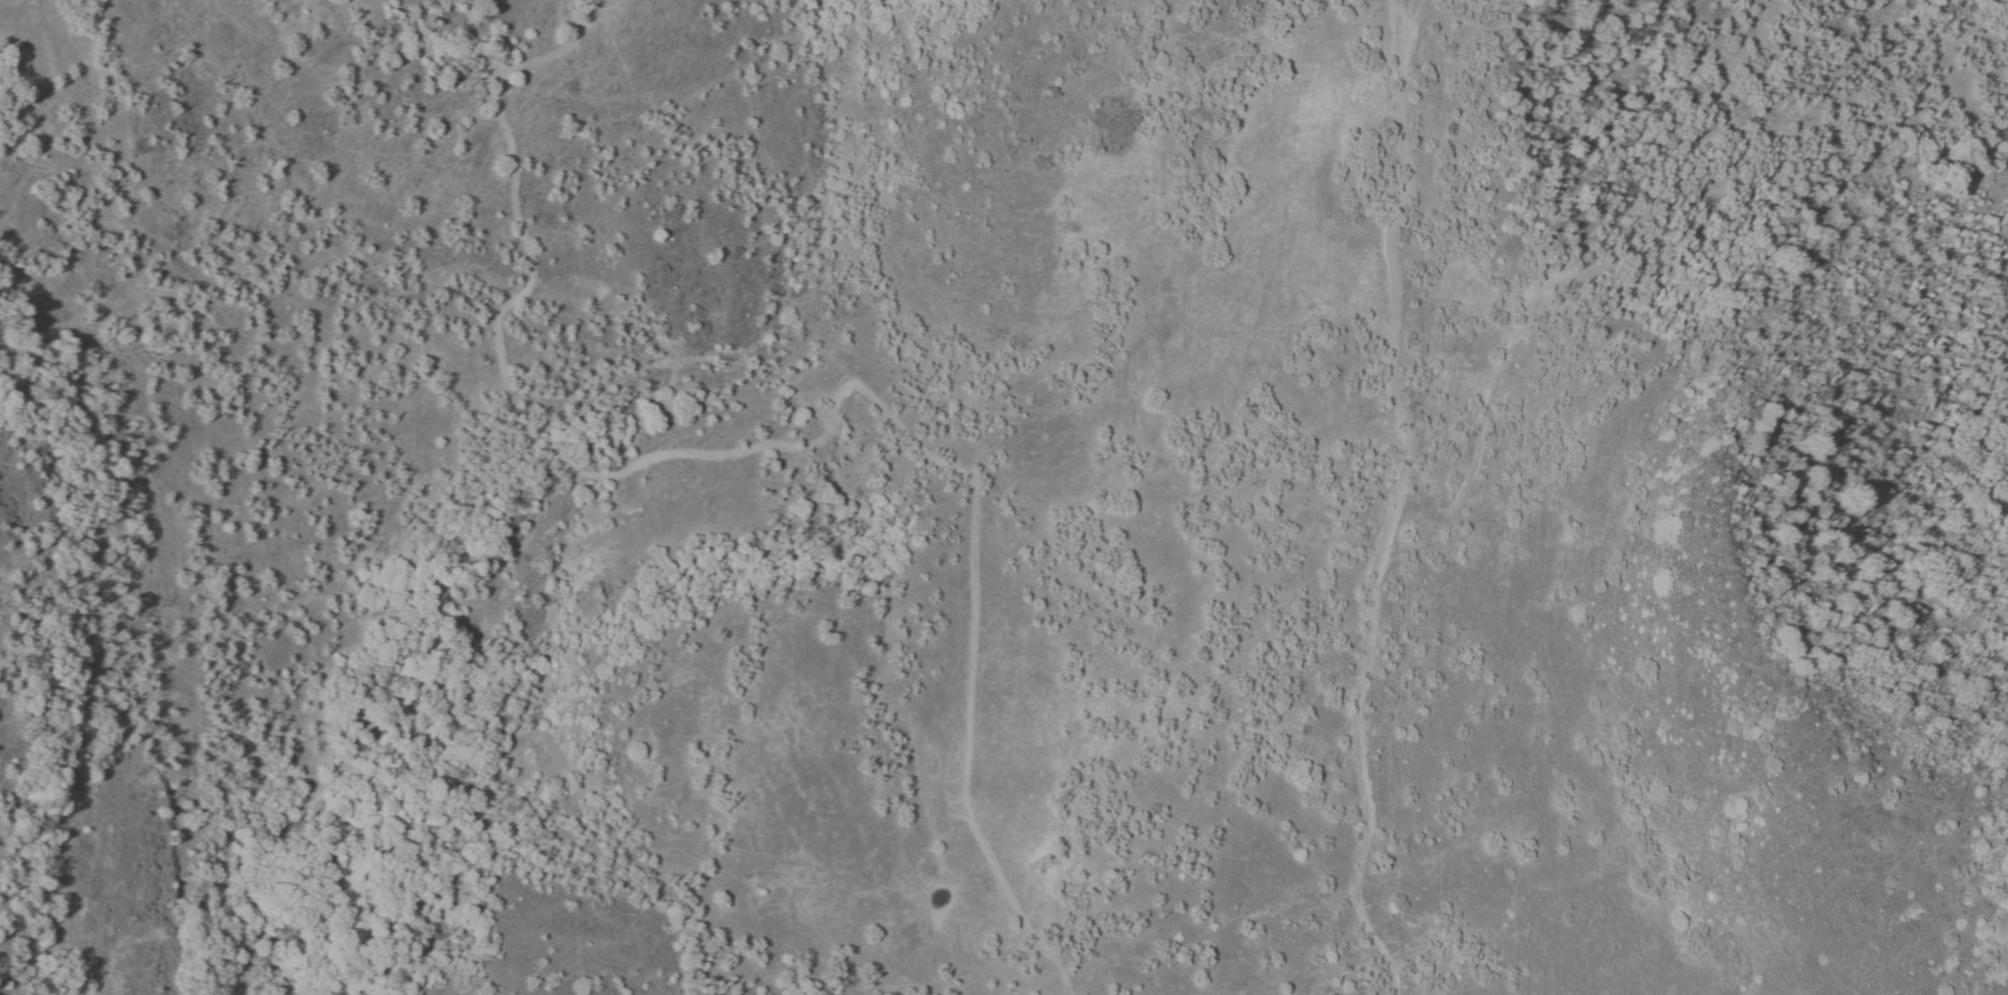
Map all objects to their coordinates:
road: (487, 76)
road: (1715, 142)
road: (1505, 352)
road: (856, 386)
road: (1396, 498)

